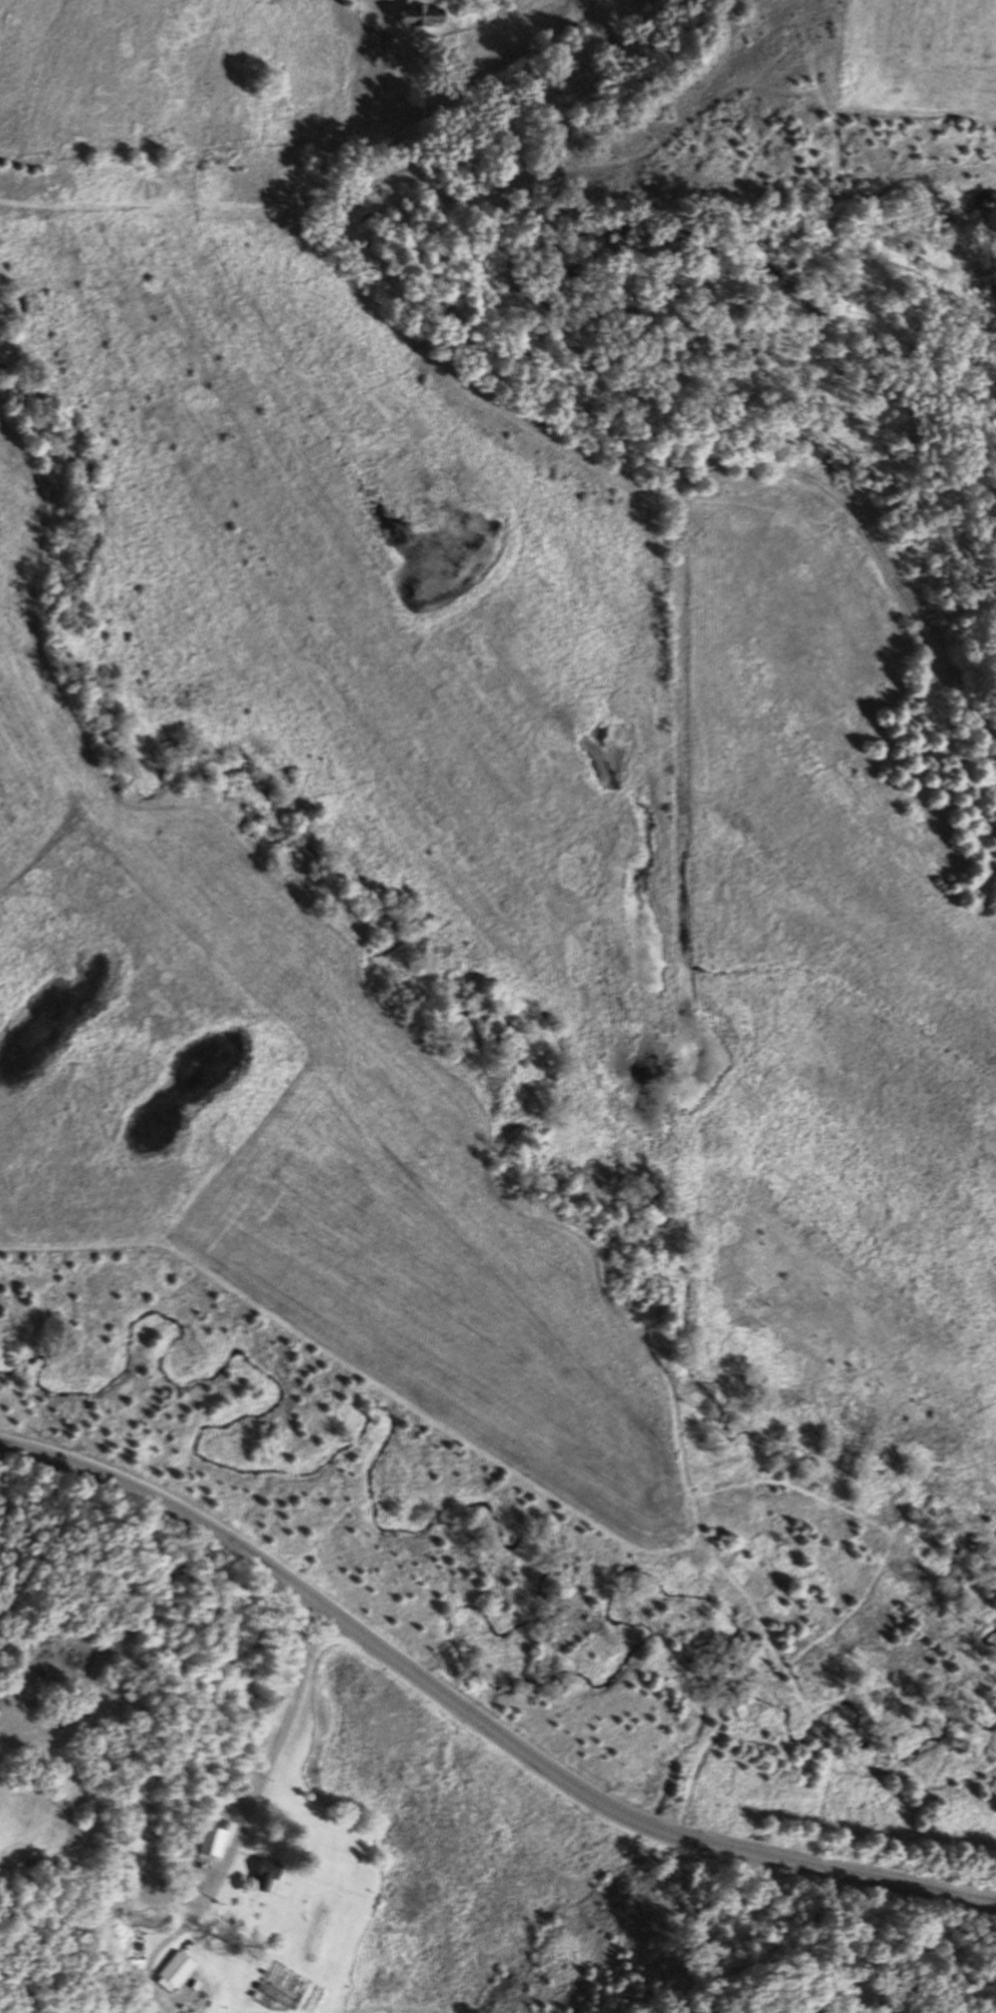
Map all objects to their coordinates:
building: (420, 15)
road: (305, 1627)
road: (478, 1722)
road: (152, 1814)
road: (244, 1822)
building: (215, 1841)
building: (263, 1874)
building: (179, 1966)

